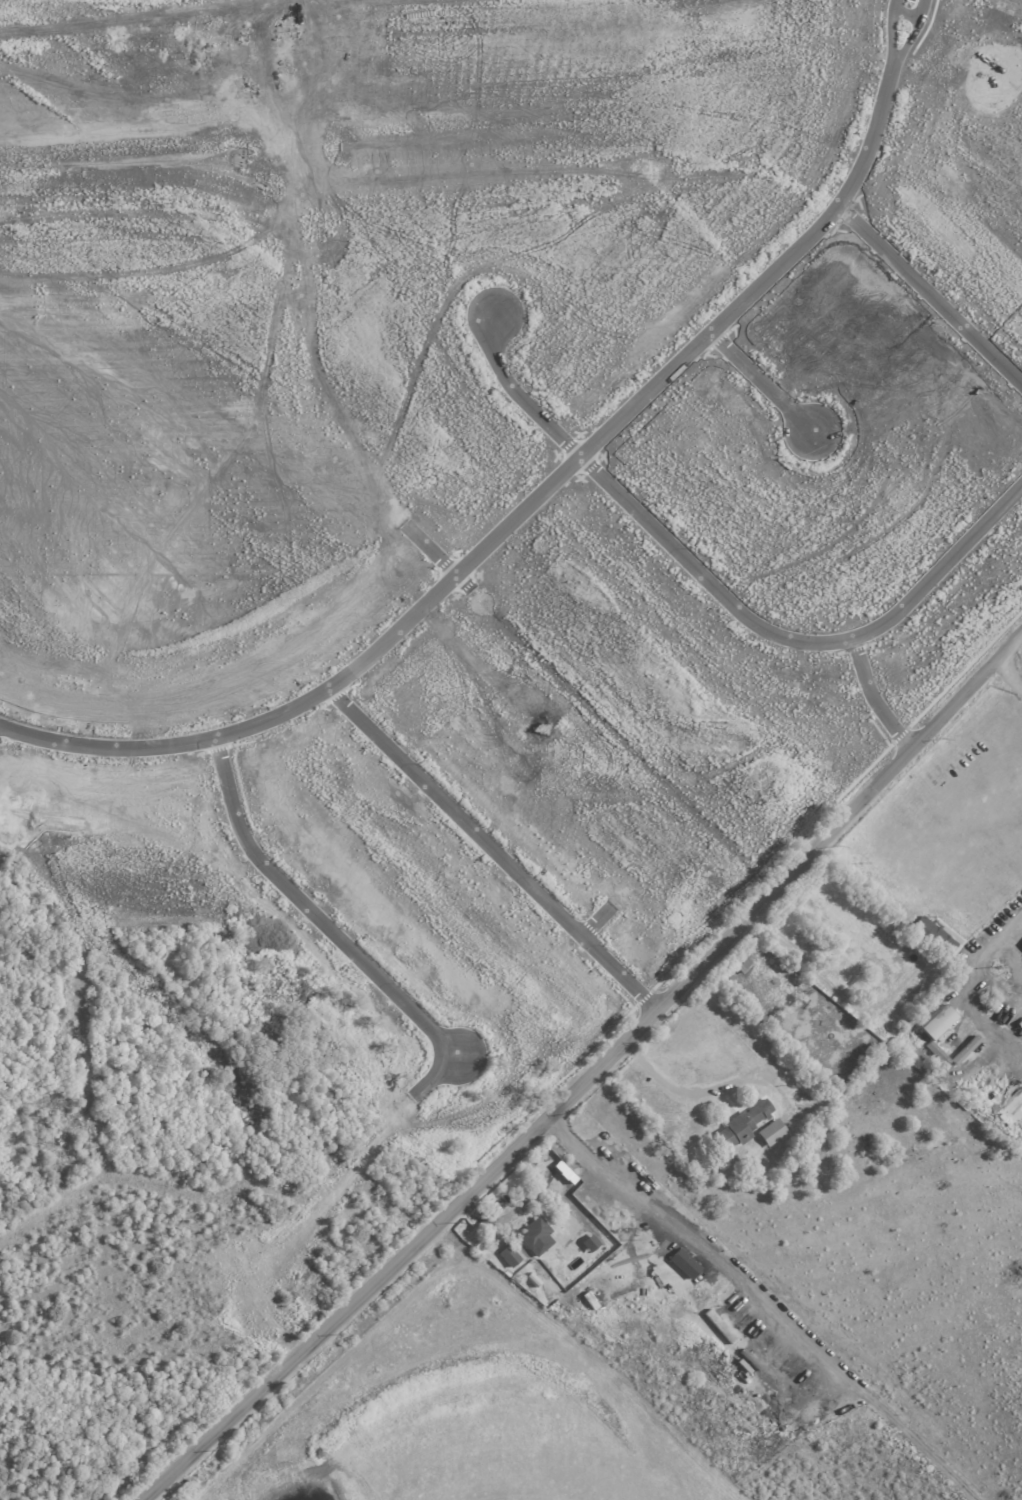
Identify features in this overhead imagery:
road: (891, 31)
road: (914, 33)
road: (929, 293)
road: (761, 381)
road: (640, 515)
road: (517, 516)
road: (430, 549)
road: (942, 567)
road: (1011, 676)
road: (875, 700)
road: (494, 853)
road: (312, 911)
road: (599, 921)
building: (933, 937)
road: (834, 988)
road: (955, 994)
building: (938, 1022)
road: (436, 1075)
road: (593, 1079)
road: (709, 1092)
building: (745, 1123)
building: (772, 1131)
building: (565, 1172)
building: (537, 1236)
building: (510, 1256)
building: (684, 1263)
road: (766, 1303)
building: (720, 1326)

